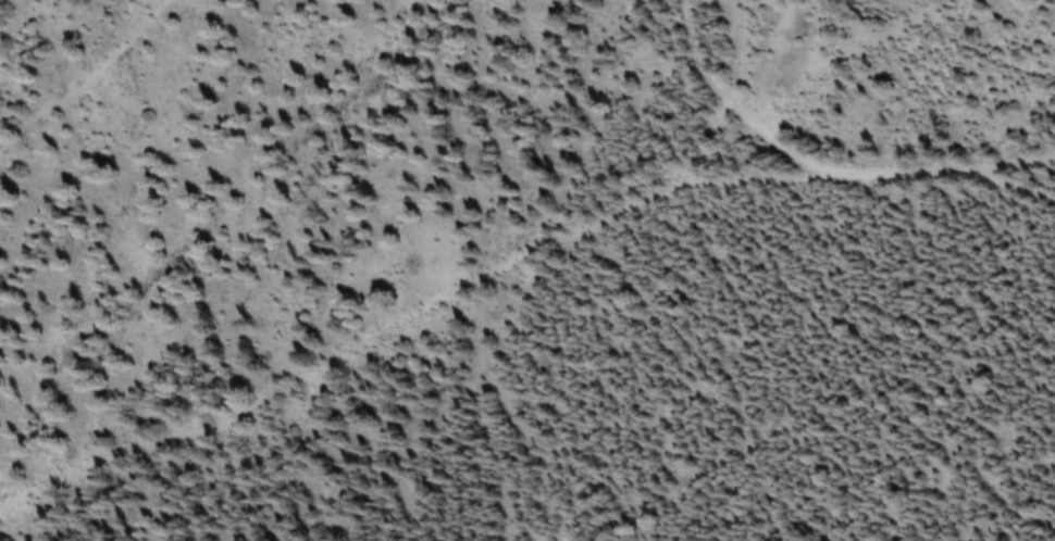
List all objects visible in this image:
road: (861, 146)

